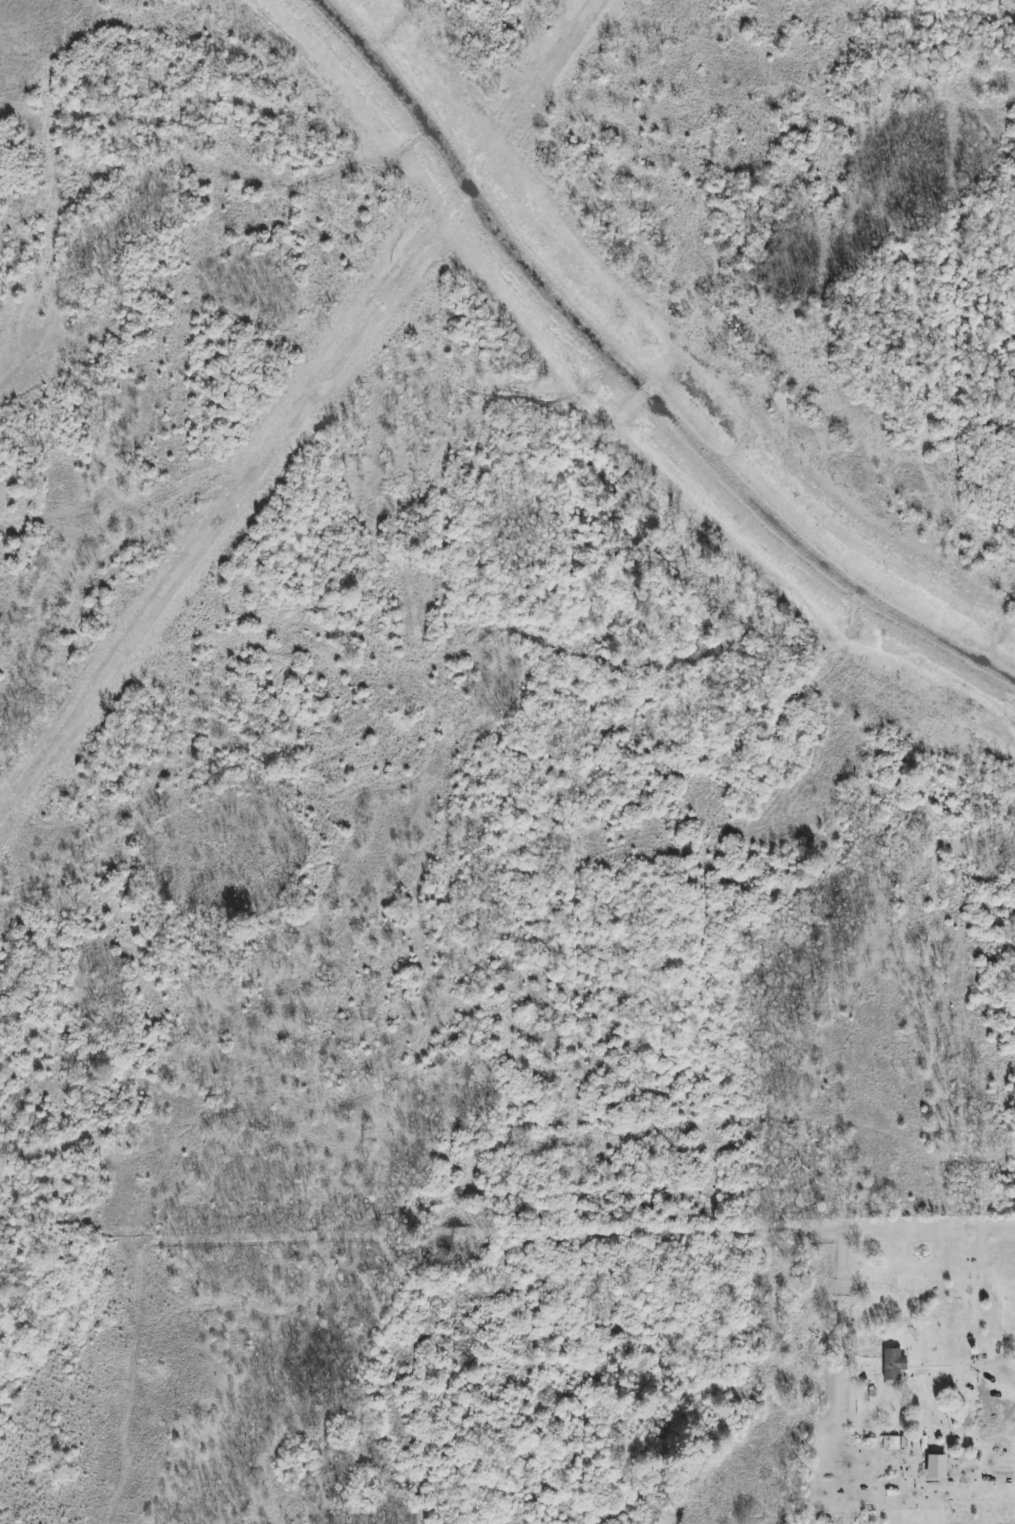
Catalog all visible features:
road: (1005, 1384)
building: (936, 1466)

